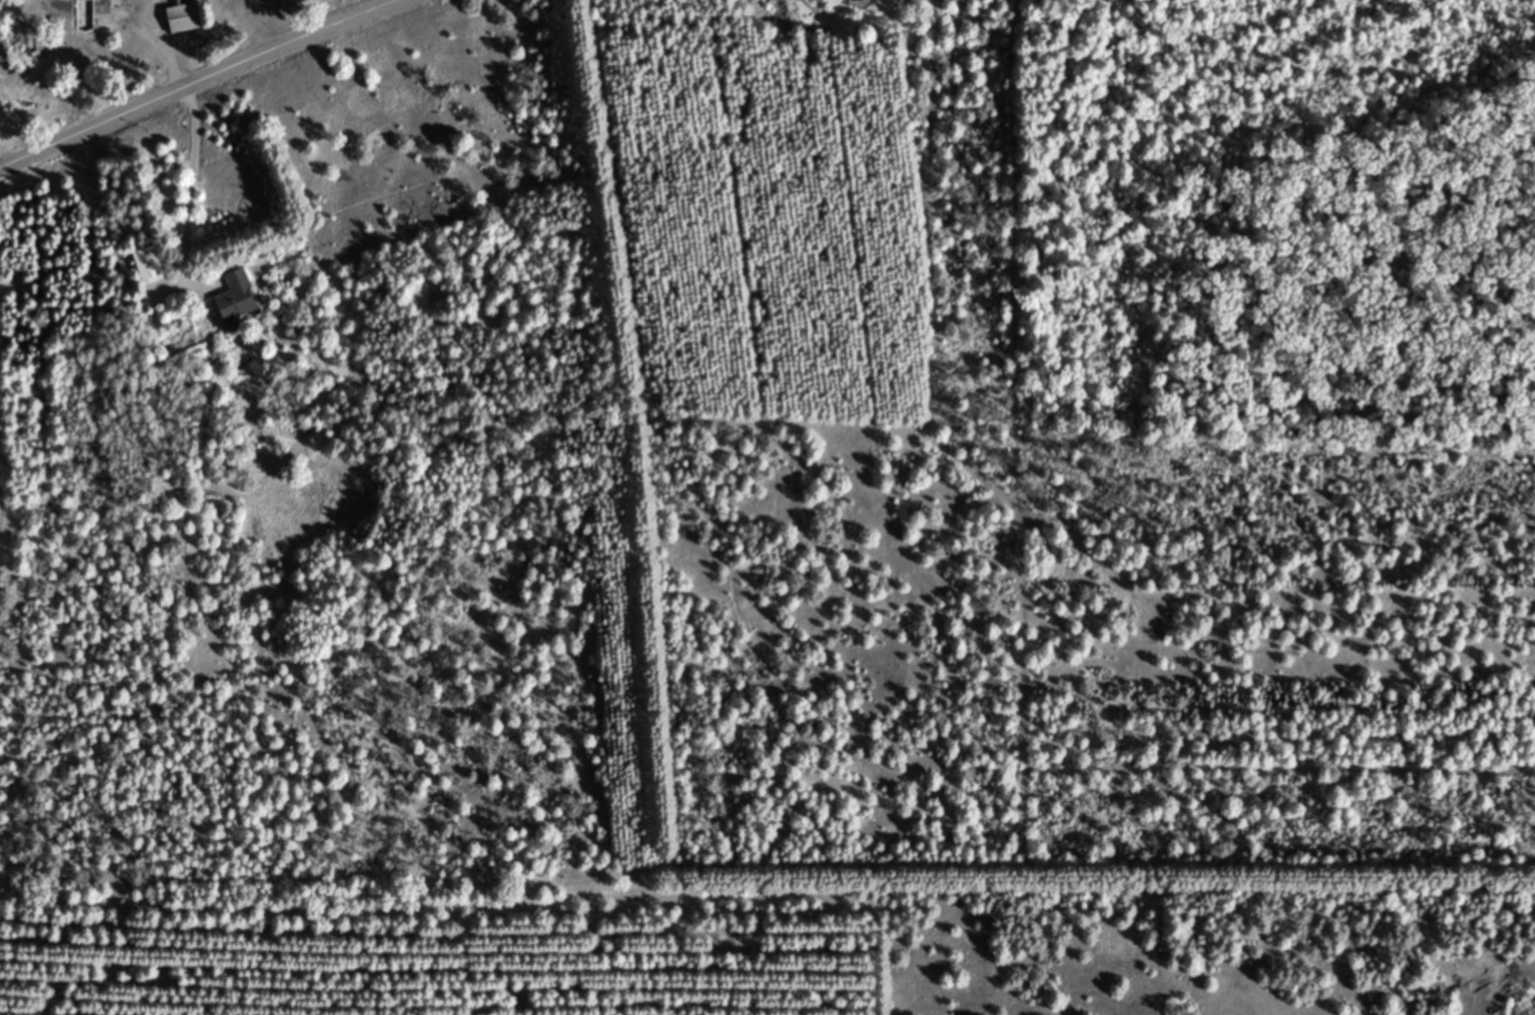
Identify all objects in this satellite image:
building: (96, 12)
building: (182, 17)
road: (167, 36)
road: (201, 81)
road: (187, 202)
building: (147, 263)
building: (237, 296)

